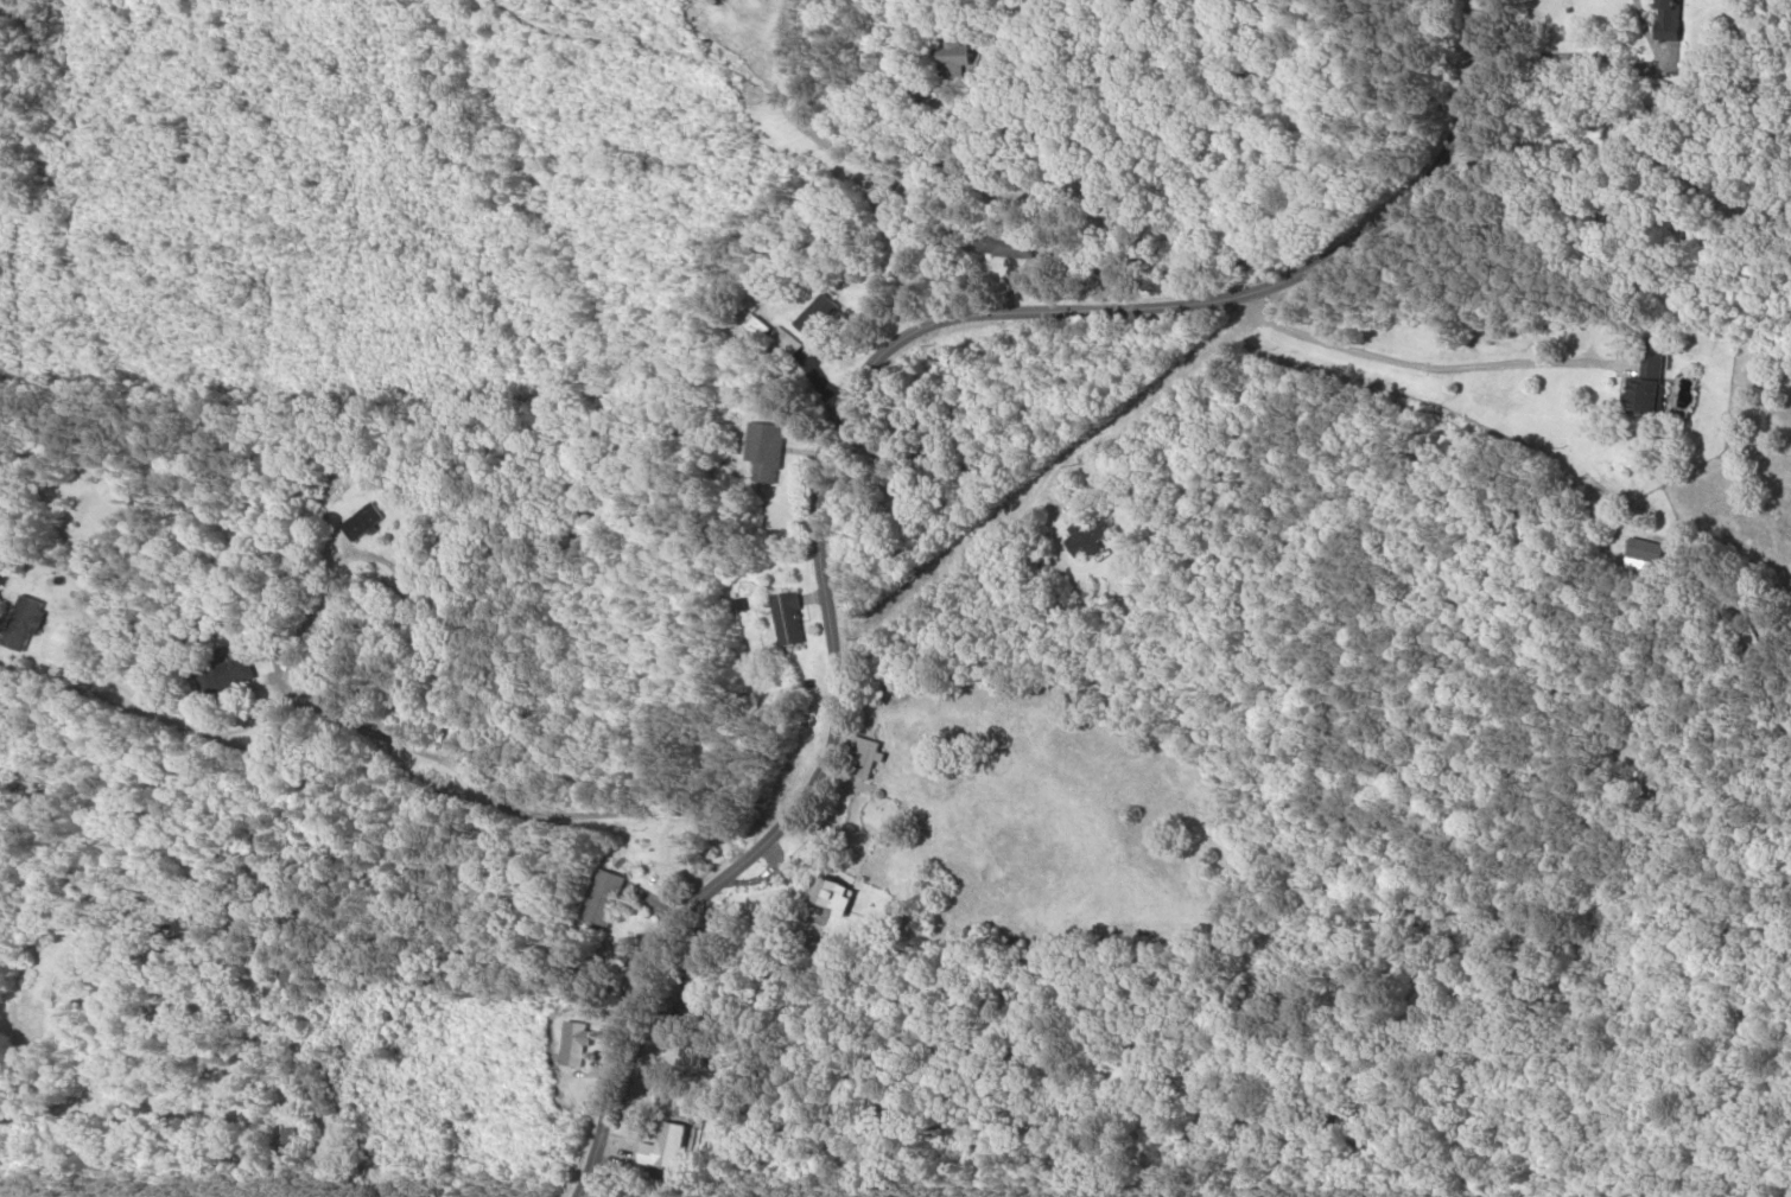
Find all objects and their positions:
building: (1678, 15)
building: (955, 55)
building: (820, 313)
building: (1656, 383)
road: (838, 400)
building: (767, 441)
building: (366, 520)
building: (1098, 531)
building: (1647, 549)
building: (790, 617)
building: (38, 622)
building: (224, 674)
building: (874, 755)
building: (839, 892)
building: (618, 896)
building: (183, 930)
building: (292, 978)
building: (584, 1043)
building: (678, 1145)

